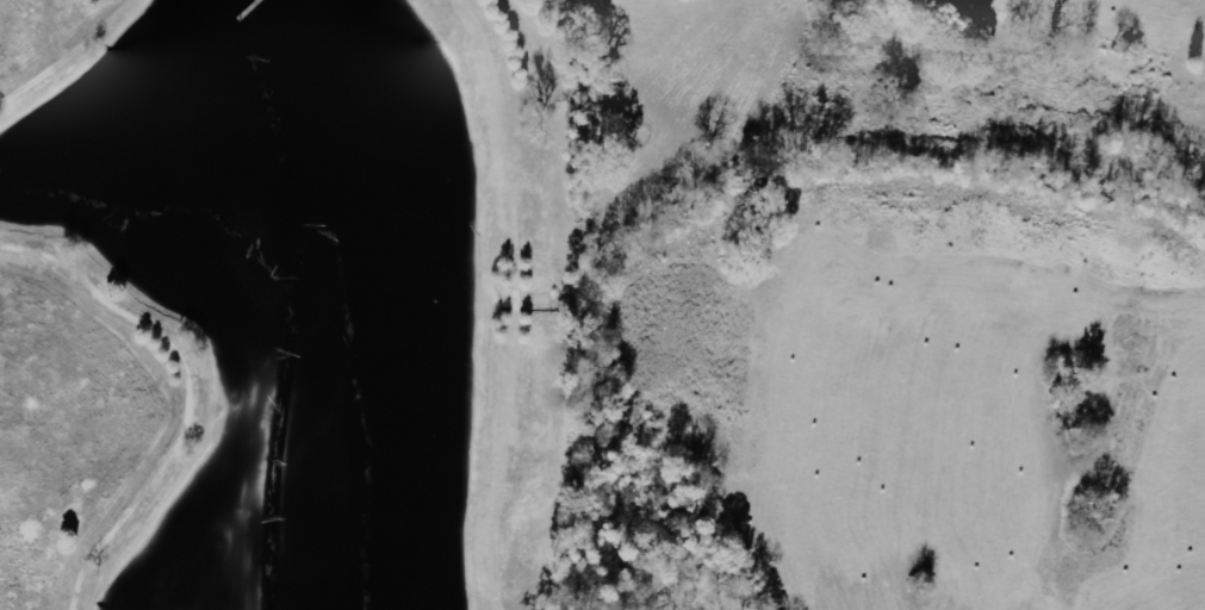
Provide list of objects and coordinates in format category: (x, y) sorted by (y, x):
road: (61, 305)

